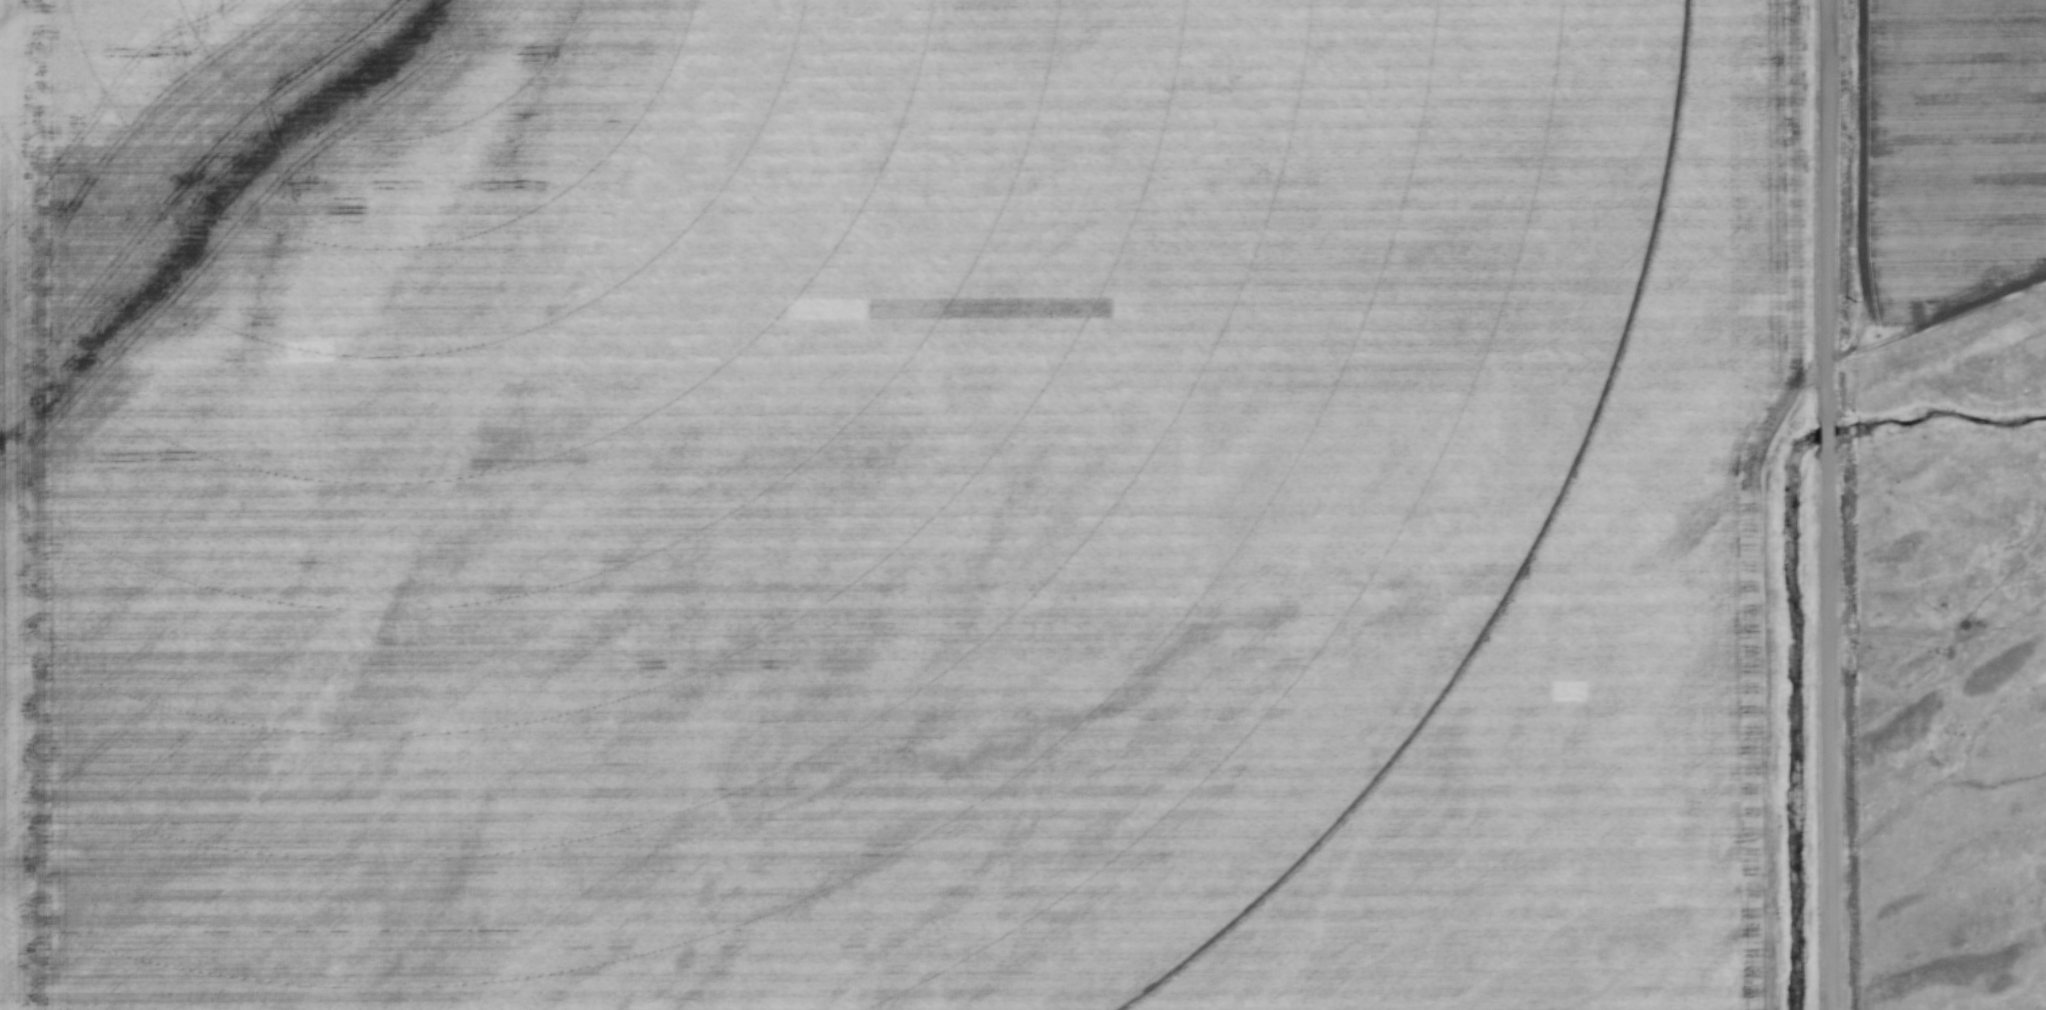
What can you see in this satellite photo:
road: (1830, 505)

